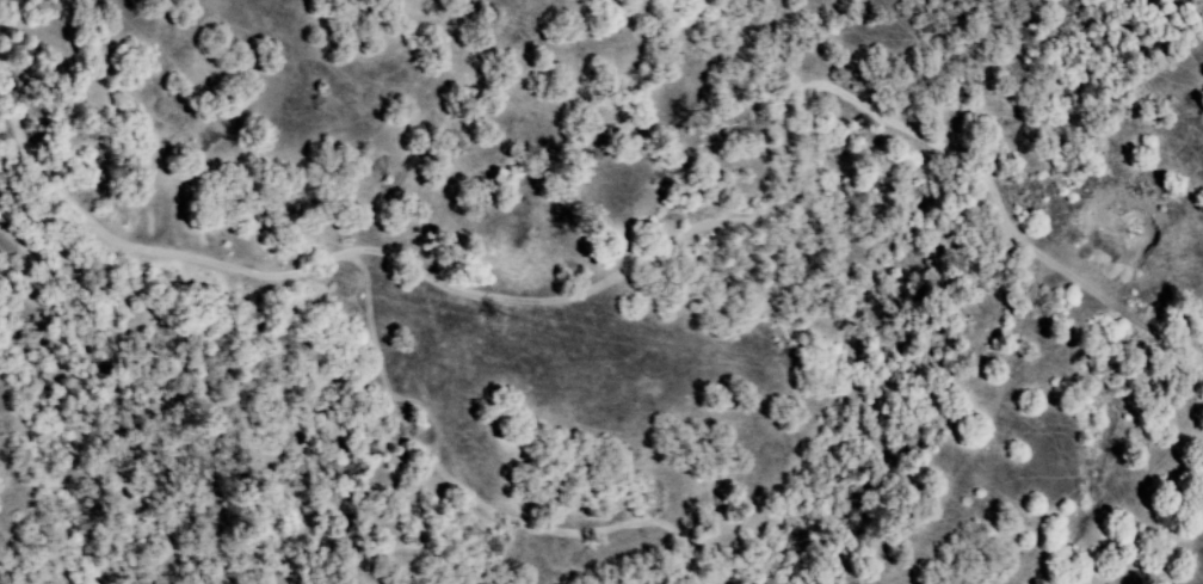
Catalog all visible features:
road: (683, 239)
power tower: (504, 320)

